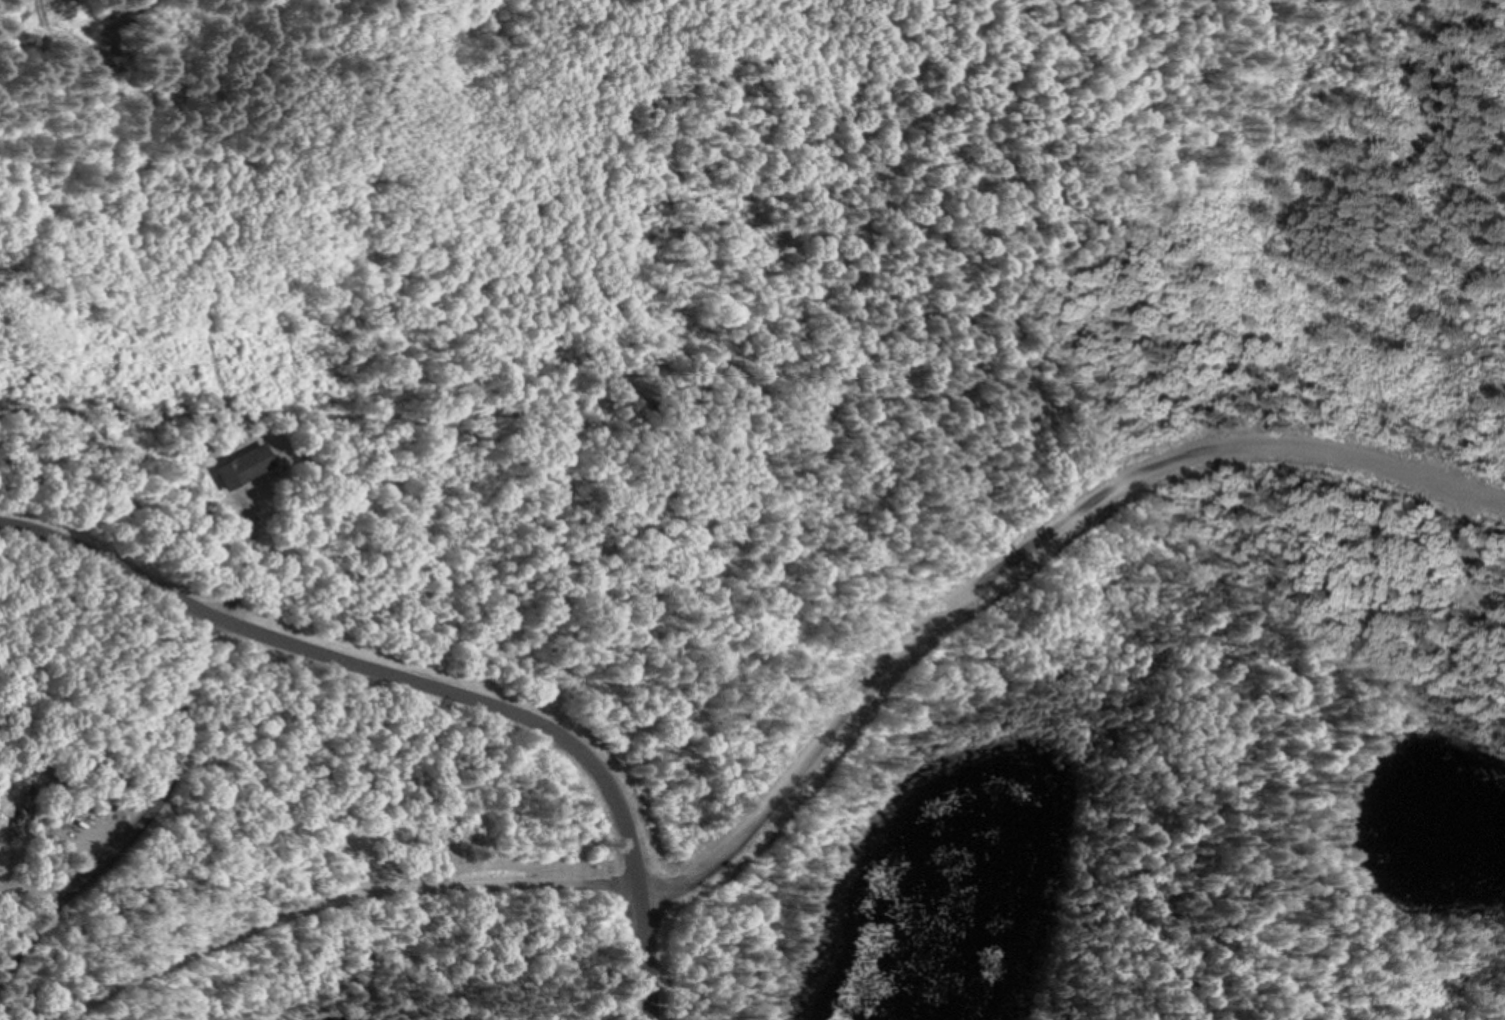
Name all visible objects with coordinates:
building: (230, 465)
building: (195, 507)
road: (1012, 548)
road: (1477, 549)
road: (363, 665)
building: (20, 800)
road: (139, 811)
building: (15, 813)
building: (9, 826)
building: (428, 865)
road: (378, 887)
road: (633, 960)

